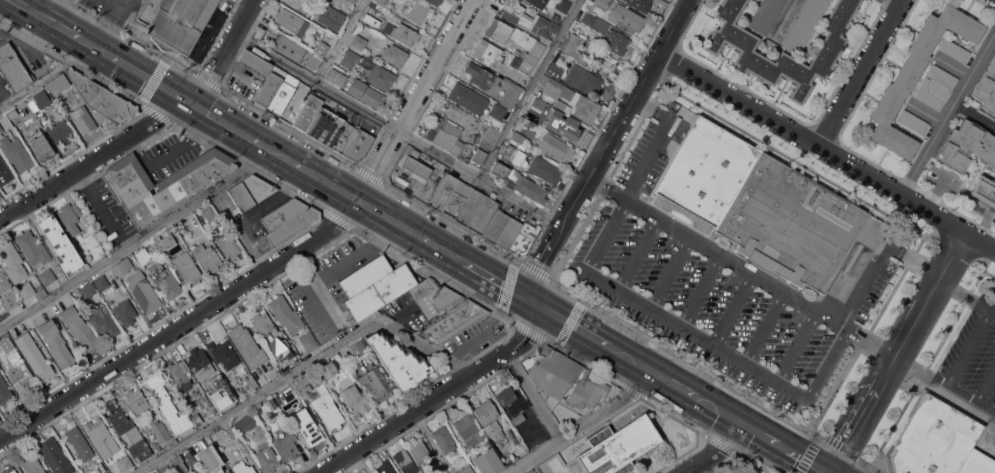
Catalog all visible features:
building: (541, 0)
building: (351, 1)
building: (381, 1)
building: (435, 1)
building: (533, 1)
road: (117, 2)
road: (123, 2)
building: (640, 4)
road: (893, 4)
building: (563, 5)
road: (23, 7)
road: (40, 7)
building: (147, 12)
building: (420, 13)
building: (621, 15)
building: (765, 15)
building: (555, 16)
building: (330, 17)
building: (368, 19)
building: (291, 21)
building: (594, 22)
building: (388, 25)
building: (539, 25)
building: (803, 25)
building: (187, 26)
road: (57, 27)
road: (678, 27)
road: (110, 28)
building: (498, 30)
road: (17, 34)
building: (404, 34)
road: (7, 36)
road: (340, 41)
building: (615, 41)
building: (359, 42)
building: (288, 48)
building: (320, 48)
building: (575, 49)
road: (96, 50)
building: (954, 50)
building: (517, 51)
building: (994, 51)
building: (487, 52)
building: (784, 52)
road: (227, 53)
building: (534, 53)
building: (394, 54)
building: (349, 59)
building: (313, 60)
building: (254, 63)
building: (521, 65)
building: (556, 67)
building: (13, 68)
road: (862, 72)
building: (481, 75)
building: (916, 75)
road: (44, 77)
building: (337, 77)
building: (381, 77)
road: (150, 80)
building: (583, 80)
building: (58, 83)
building: (270, 87)
building: (936, 87)
building: (986, 88)
road: (530, 89)
building: (365, 93)
building: (510, 93)
building: (282, 95)
road: (4, 96)
building: (42, 99)
building: (101, 99)
building: (568, 99)
building: (474, 101)
road: (202, 109)
building: (542, 111)
building: (308, 112)
road: (947, 112)
road: (975, 113)
building: (11, 114)
building: (83, 119)
building: (913, 121)
building: (327, 125)
building: (448, 126)
building: (498, 127)
building: (58, 128)
building: (1, 130)
road: (239, 130)
road: (401, 133)
building: (517, 137)
building: (487, 138)
building: (445, 139)
building: (353, 143)
road: (814, 143)
building: (40, 146)
building: (967, 146)
building: (555, 147)
road: (168, 149)
building: (513, 151)
road: (279, 152)
building: (15, 153)
building: (478, 155)
road: (94, 161)
building: (423, 165)
building: (545, 170)
building: (4, 172)
road: (594, 178)
road: (327, 180)
building: (519, 182)
building: (164, 184)
road: (608, 189)
building: (250, 192)
building: (443, 192)
building: (983, 193)
building: (458, 200)
road: (95, 202)
building: (761, 206)
building: (209, 212)
building: (478, 212)
building: (70, 217)
building: (993, 219)
building: (288, 220)
road: (396, 220)
road: (38, 229)
building: (503, 230)
road: (245, 231)
building: (526, 235)
road: (139, 241)
building: (164, 241)
road: (980, 241)
building: (61, 244)
building: (228, 245)
building: (32, 248)
road: (449, 251)
building: (143, 255)
road: (638, 256)
building: (206, 257)
building: (13, 262)
road: (281, 264)
building: (187, 266)
road: (740, 266)
road: (670, 275)
building: (47, 276)
building: (165, 280)
building: (101, 282)
building: (4, 283)
road: (503, 283)
building: (137, 285)
building: (374, 286)
building: (425, 288)
parking lot: (715, 288)
building: (31, 291)
building: (88, 291)
road: (702, 293)
road: (930, 295)
road: (966, 296)
building: (438, 300)
building: (9, 301)
traffic signals: (540, 305)
road: (732, 311)
building: (125, 312)
building: (285, 314)
building: (1, 316)
building: (453, 321)
building: (103, 322)
building: (263, 324)
road: (575, 325)
building: (80, 328)
road: (764, 330)
road: (694, 338)
building: (308, 341)
building: (56, 343)
building: (246, 346)
building: (358, 346)
road: (875, 346)
road: (968, 348)
road: (796, 349)
building: (281, 350)
building: (222, 352)
building: (34, 356)
parking lot: (969, 358)
building: (399, 360)
road: (639, 363)
building: (200, 364)
building: (16, 366)
road: (305, 367)
building: (327, 370)
building: (551, 371)
building: (178, 375)
building: (252, 382)
building: (376, 384)
road: (945, 386)
road: (682, 389)
road: (986, 389)
building: (4, 391)
building: (289, 392)
building: (196, 393)
building: (587, 393)
building: (353, 395)
building: (506, 395)
road: (440, 396)
road: (533, 396)
building: (136, 402)
building: (204, 402)
building: (271, 404)
building: (170, 406)
building: (327, 408)
building: (221, 410)
building: (486, 411)
road: (724, 414)
road: (863, 414)
building: (519, 418)
building: (197, 419)
building: (244, 423)
road: (581, 424)
building: (309, 429)
building: (469, 430)
building: (493, 431)
building: (127, 432)
building: (159, 432)
building: (231, 432)
building: (101, 437)
road: (765, 438)
building: (444, 439)
building: (938, 440)
building: (171, 442)
building: (79, 443)
building: (156, 446)
building: (287, 446)
building: (618, 446)
power substation: (618, 446)
road: (782, 448)
building: (419, 452)
road: (719, 452)
building: (55, 456)
building: (210, 458)
building: (510, 458)
building: (267, 459)
building: (189, 460)
building: (487, 461)
road: (806, 461)
building: (405, 462)
building: (124, 463)
building: (32, 464)
building: (177, 464)
building: (385, 467)
building: (243, 468)
building: (96, 469)
building: (164, 469)
building: (466, 469)
building: (10, 470)
building: (725, 472)

